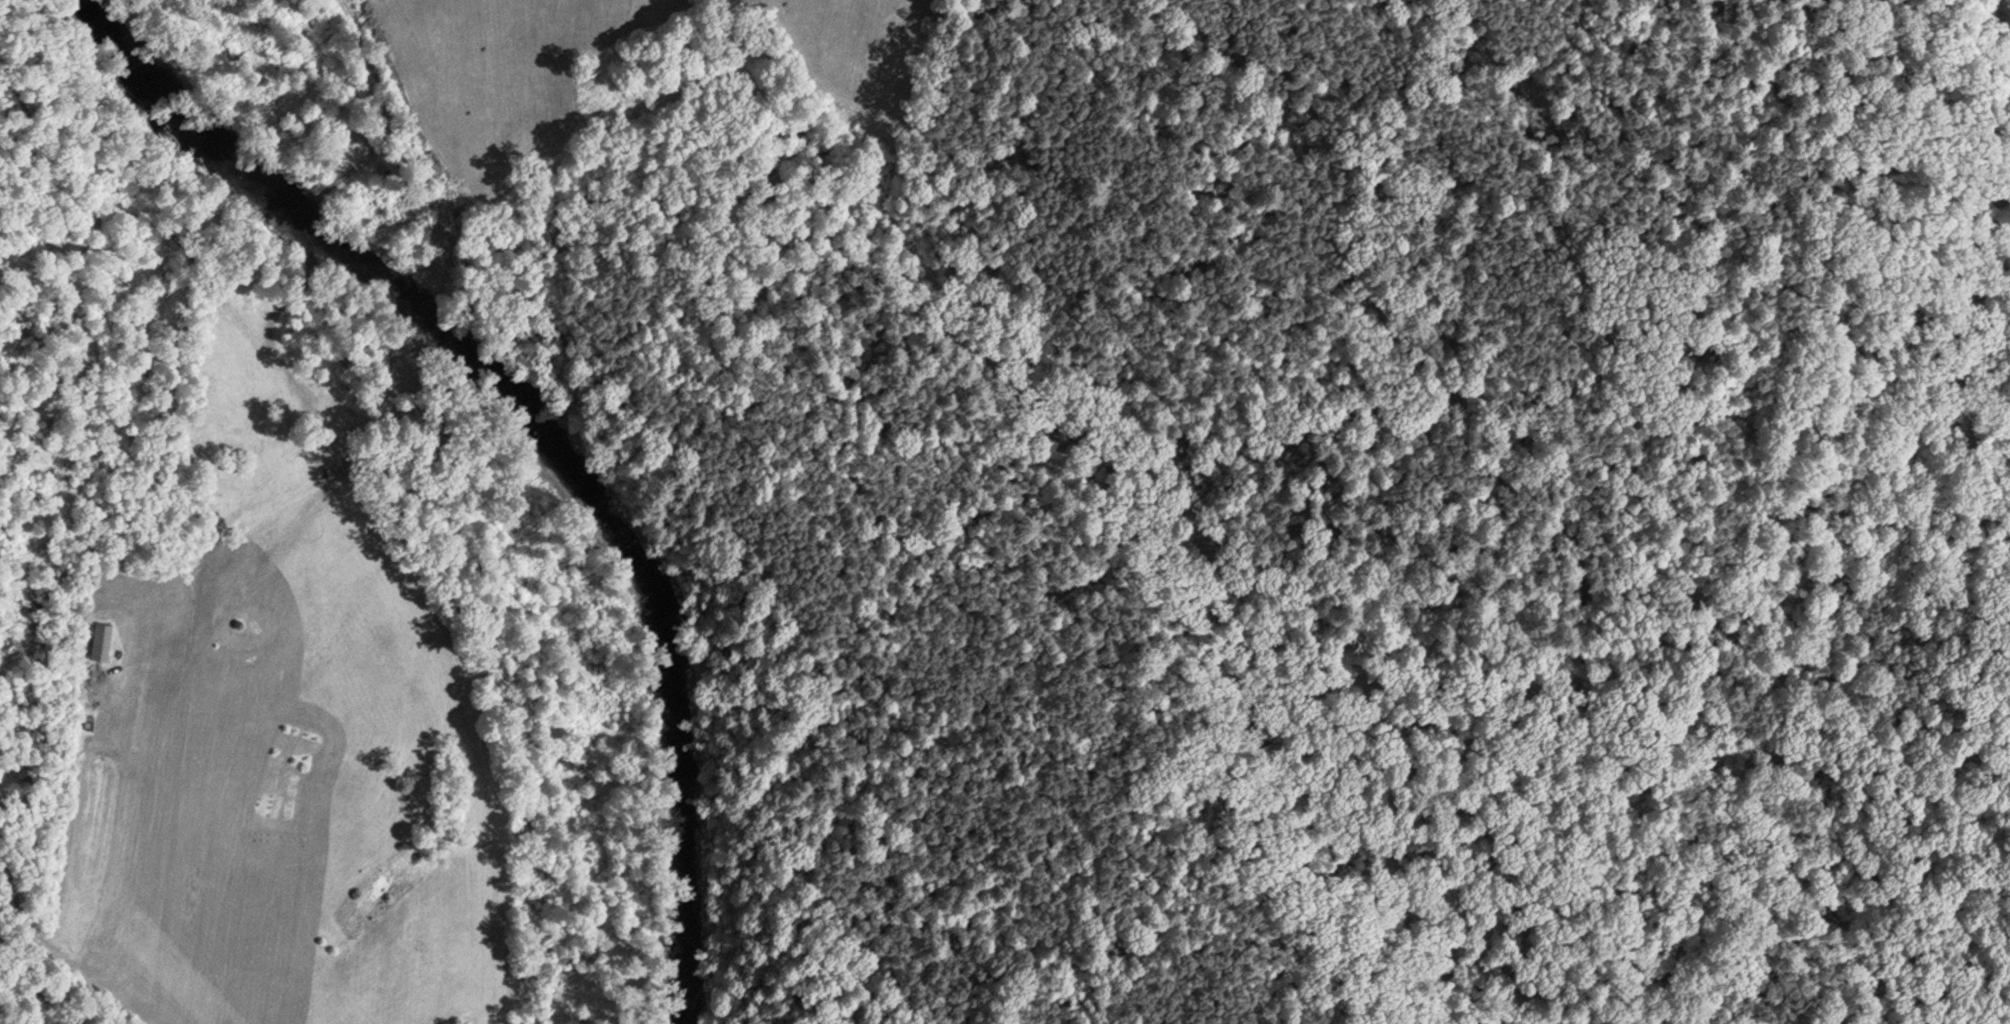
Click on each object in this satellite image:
road: (376, 97)
river: (532, 429)
building: (98, 640)

